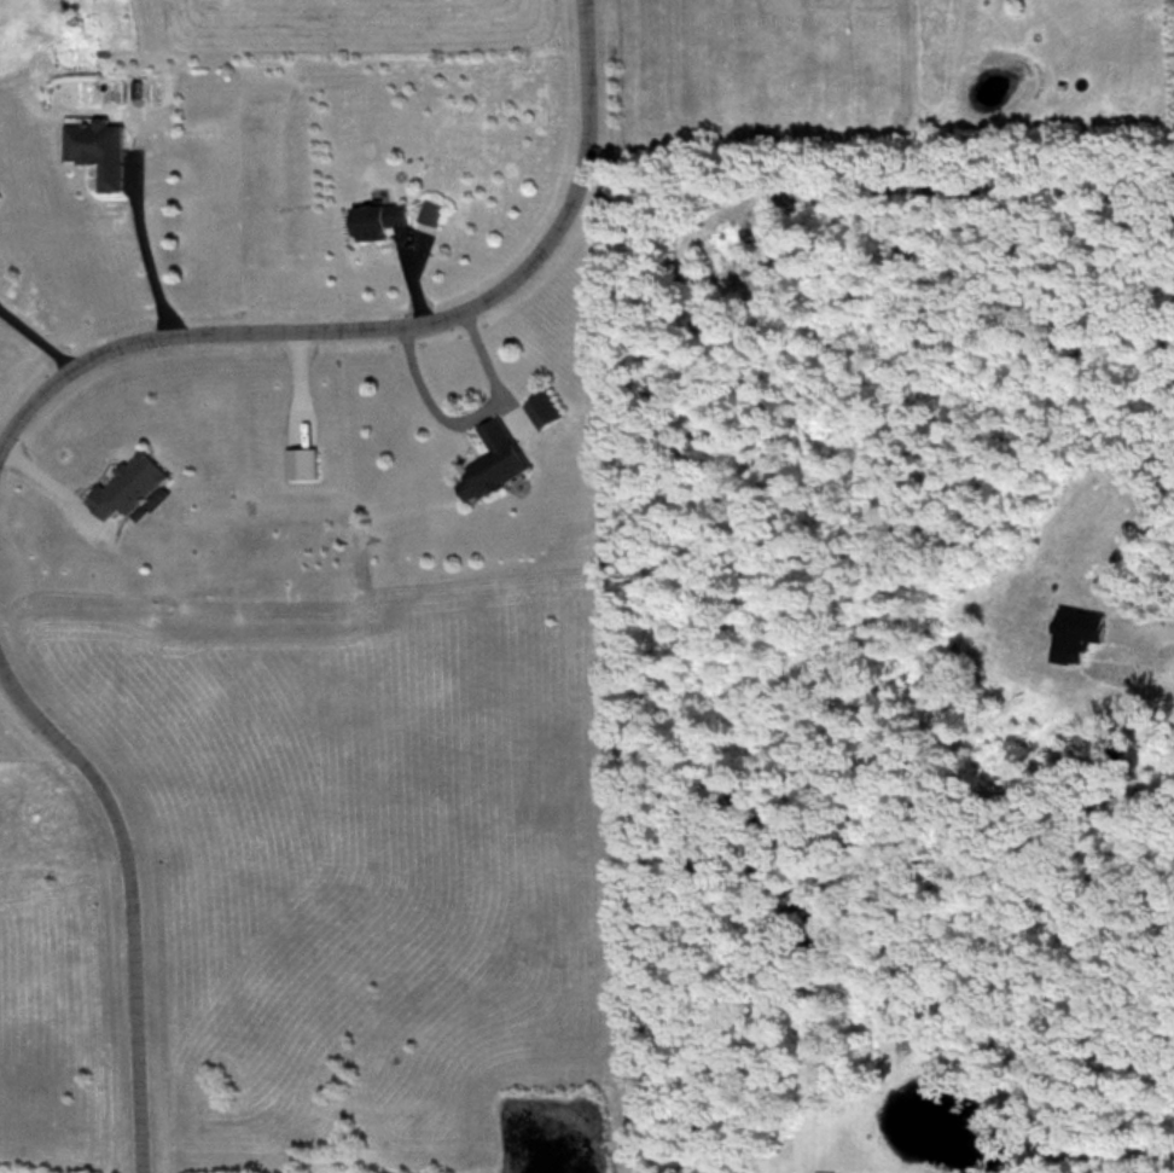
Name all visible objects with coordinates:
building: (98, 150)
building: (430, 213)
building: (377, 219)
road: (147, 252)
road: (390, 326)
road: (34, 338)
building: (544, 410)
road: (461, 418)
building: (493, 461)
building: (127, 486)
road: (127, 899)
building: (1073, 1131)
road: (1081, 1151)

